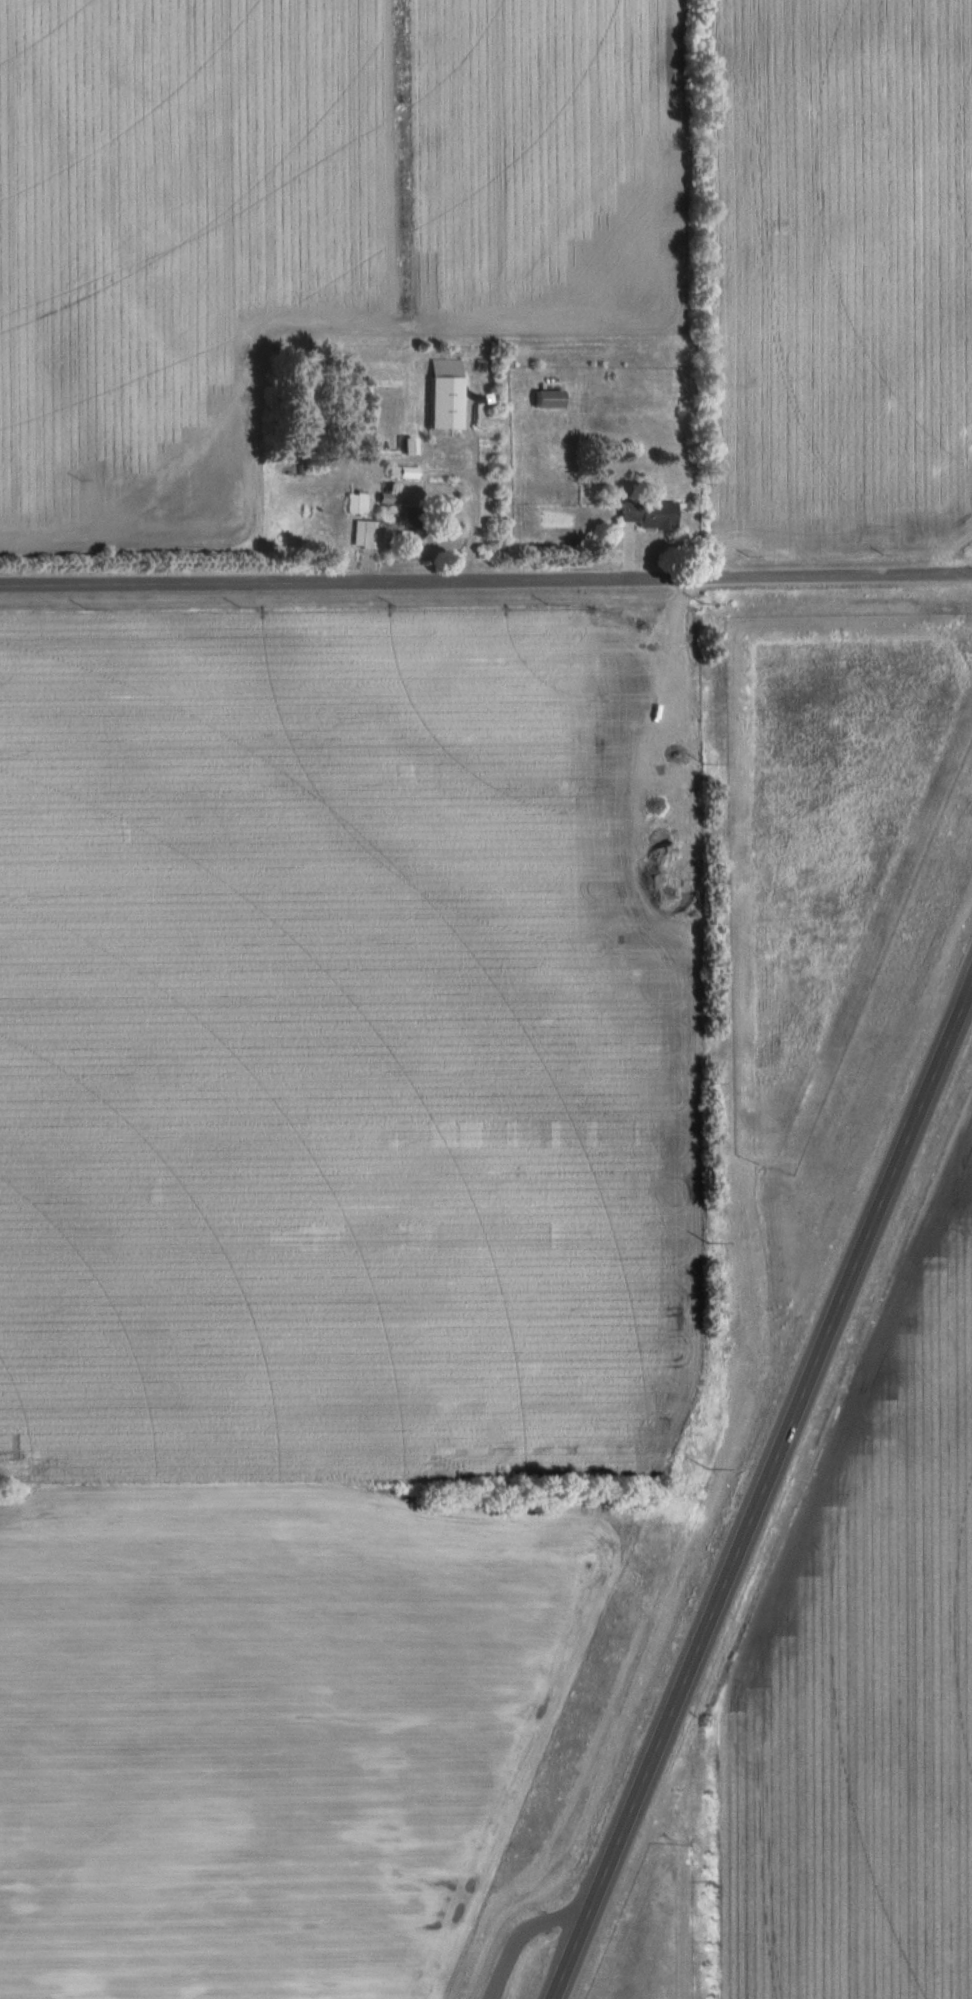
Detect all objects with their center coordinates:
crop: (308, 215)
crop: (839, 273)
building: (446, 395)
building: (549, 399)
building: (356, 504)
building: (650, 515)
building: (405, 521)
building: (366, 535)
road: (486, 583)
crop: (347, 1052)
road: (763, 1484)
crop: (863, 1673)
crop: (293, 1724)
road: (534, 1938)

